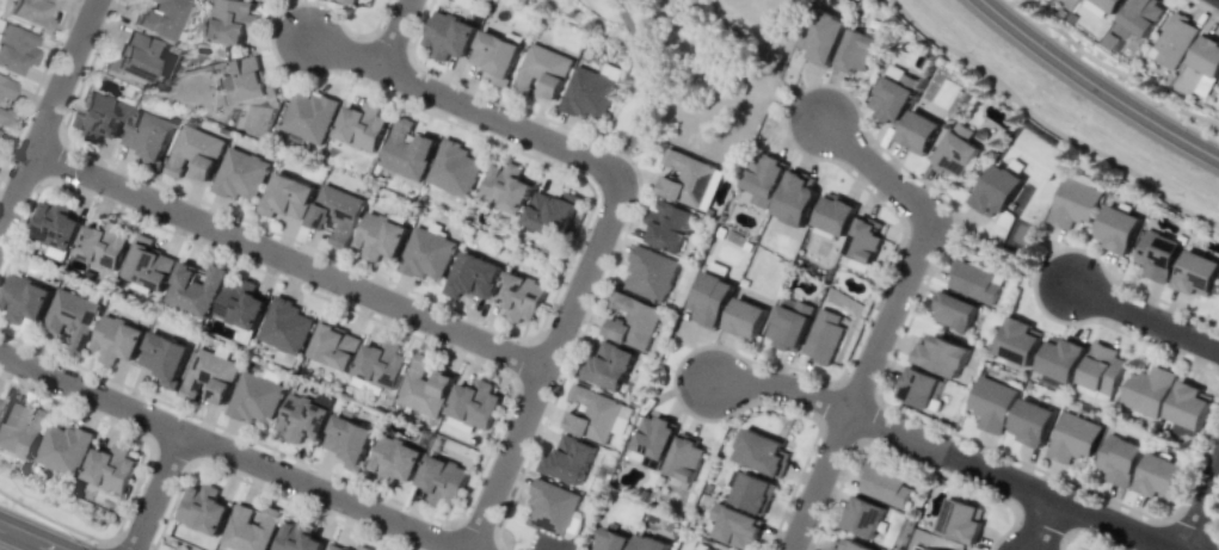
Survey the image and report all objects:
building: (346, 1)
building: (1102, 6)
building: (29, 13)
building: (1139, 17)
building: (160, 18)
building: (232, 20)
road: (393, 33)
building: (448, 36)
road: (752, 37)
building: (824, 37)
building: (1174, 41)
building: (13, 48)
building: (856, 51)
street lamp: (967, 51)
building: (494, 55)
building: (136, 57)
building: (1207, 61)
park: (692, 69)
building: (542, 70)
building: (246, 79)
road: (1096, 84)
road: (646, 86)
building: (5, 88)
road: (702, 88)
building: (587, 93)
road: (767, 93)
building: (892, 95)
road: (466, 105)
road: (796, 107)
road: (47, 113)
building: (101, 116)
building: (308, 116)
building: (2, 118)
building: (361, 126)
street lamp: (1071, 126)
building: (917, 131)
building: (147, 137)
street lamp: (16, 144)
building: (406, 149)
building: (955, 150)
building: (195, 153)
street lamp: (634, 161)
building: (454, 171)
building: (240, 174)
building: (687, 178)
building: (765, 179)
building: (506, 187)
building: (996, 190)
street lamp: (1180, 192)
street lamp: (94, 197)
building: (287, 197)
building: (796, 197)
building: (1075, 203)
building: (550, 212)
building: (335, 214)
building: (835, 215)
building: (54, 225)
building: (669, 225)
building: (1118, 229)
building: (380, 236)
building: (863, 241)
building: (101, 246)
building: (426, 254)
building: (1157, 255)
road: (288, 259)
building: (147, 265)
building: (651, 273)
building: (1196, 273)
building: (472, 276)
building: (974, 282)
building: (195, 289)
building: (1218, 293)
building: (519, 296)
building: (712, 298)
building: (23, 299)
building: (240, 304)
building: (955, 311)
building: (72, 317)
road: (1144, 317)
building: (745, 319)
road: (887, 319)
building: (634, 322)
building: (789, 323)
building: (285, 326)
building: (823, 336)
building: (116, 339)
street lamp: (1145, 339)
building: (1020, 341)
building: (334, 346)
building: (942, 356)
building: (164, 358)
building: (1061, 359)
building: (381, 365)
building: (610, 365)
road: (543, 370)
building: (1101, 372)
street lamp: (561, 376)
building: (209, 377)
building: (425, 387)
building: (918, 387)
building: (1147, 390)
street lamp: (57, 397)
building: (256, 398)
building: (474, 403)
building: (992, 403)
building: (1188, 406)
street lamp: (190, 415)
building: (595, 415)
building: (302, 419)
building: (1032, 422)
building: (19, 430)
building: (654, 437)
building: (1073, 438)
building: (347, 440)
building: (63, 449)
road: (229, 451)
building: (762, 452)
road: (944, 452)
building: (685, 457)
building: (396, 458)
building: (571, 459)
building: (1119, 459)
building: (110, 468)
building: (1159, 476)
building: (442, 480)
building: (884, 486)
street lamp: (136, 490)
road: (155, 490)
building: (752, 493)
street lamp: (288, 495)
building: (550, 506)
road: (1200, 506)
street lamp: (404, 507)
building: (202, 508)
building: (863, 517)
building: (961, 520)
road: (1041, 524)
building: (735, 526)
building: (250, 529)
road: (29, 537)
building: (296, 537)
street lamp: (87, 539)
building: (611, 540)
building: (648, 543)
building: (335, 546)
building: (854, 546)
building: (363, 548)
building: (701, 548)
building: (928, 549)

